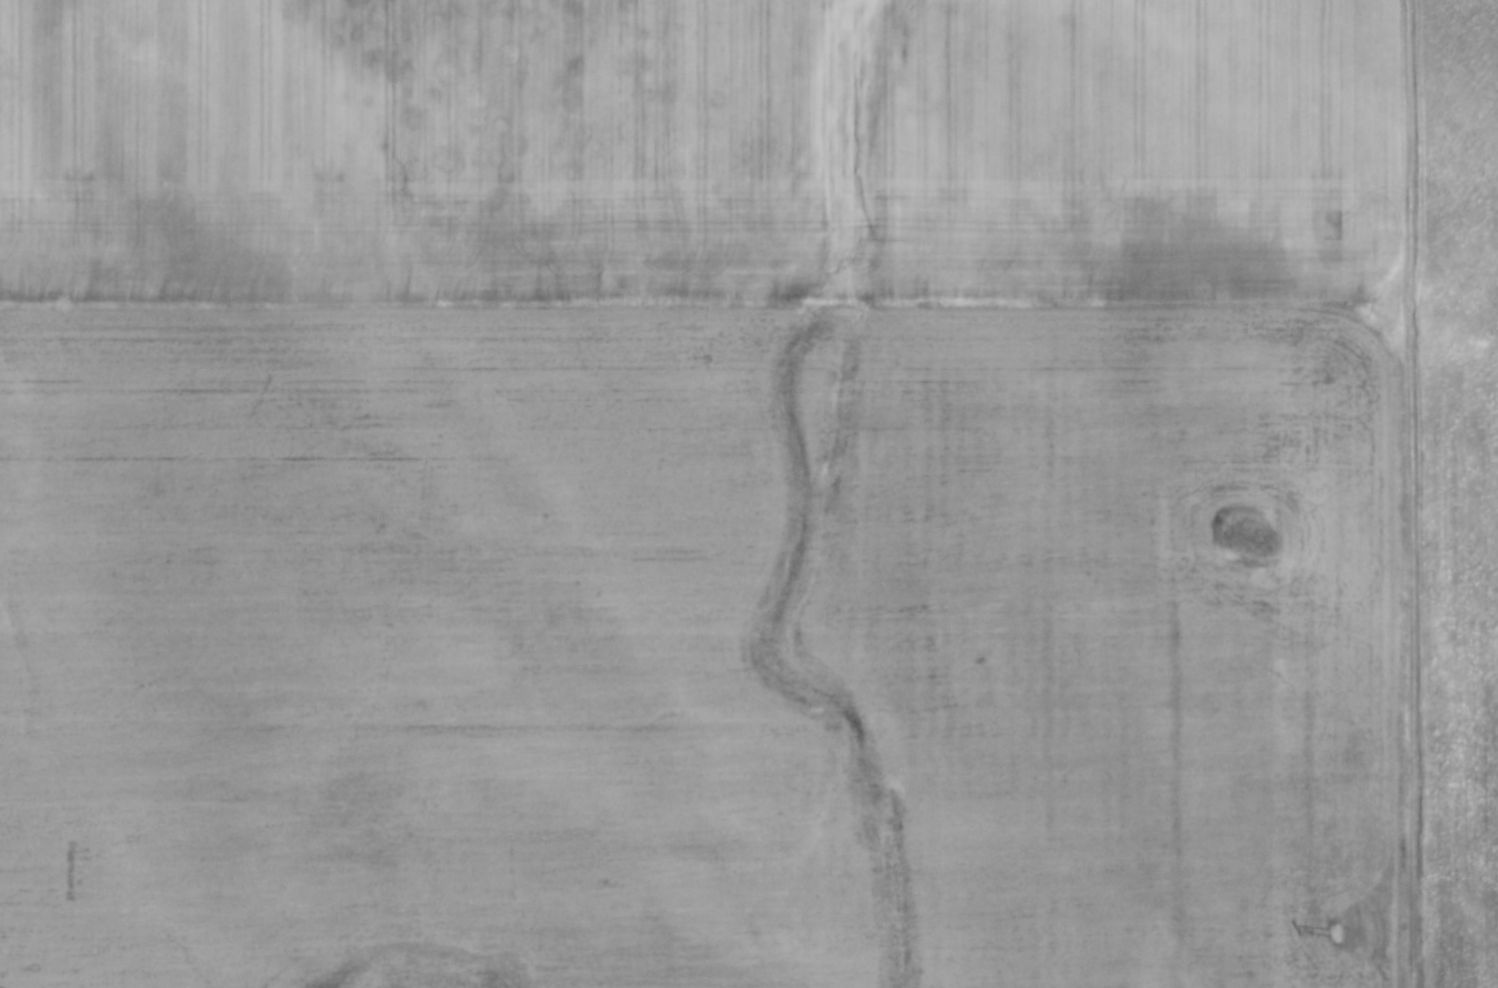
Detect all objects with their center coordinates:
road: (1411, 493)

